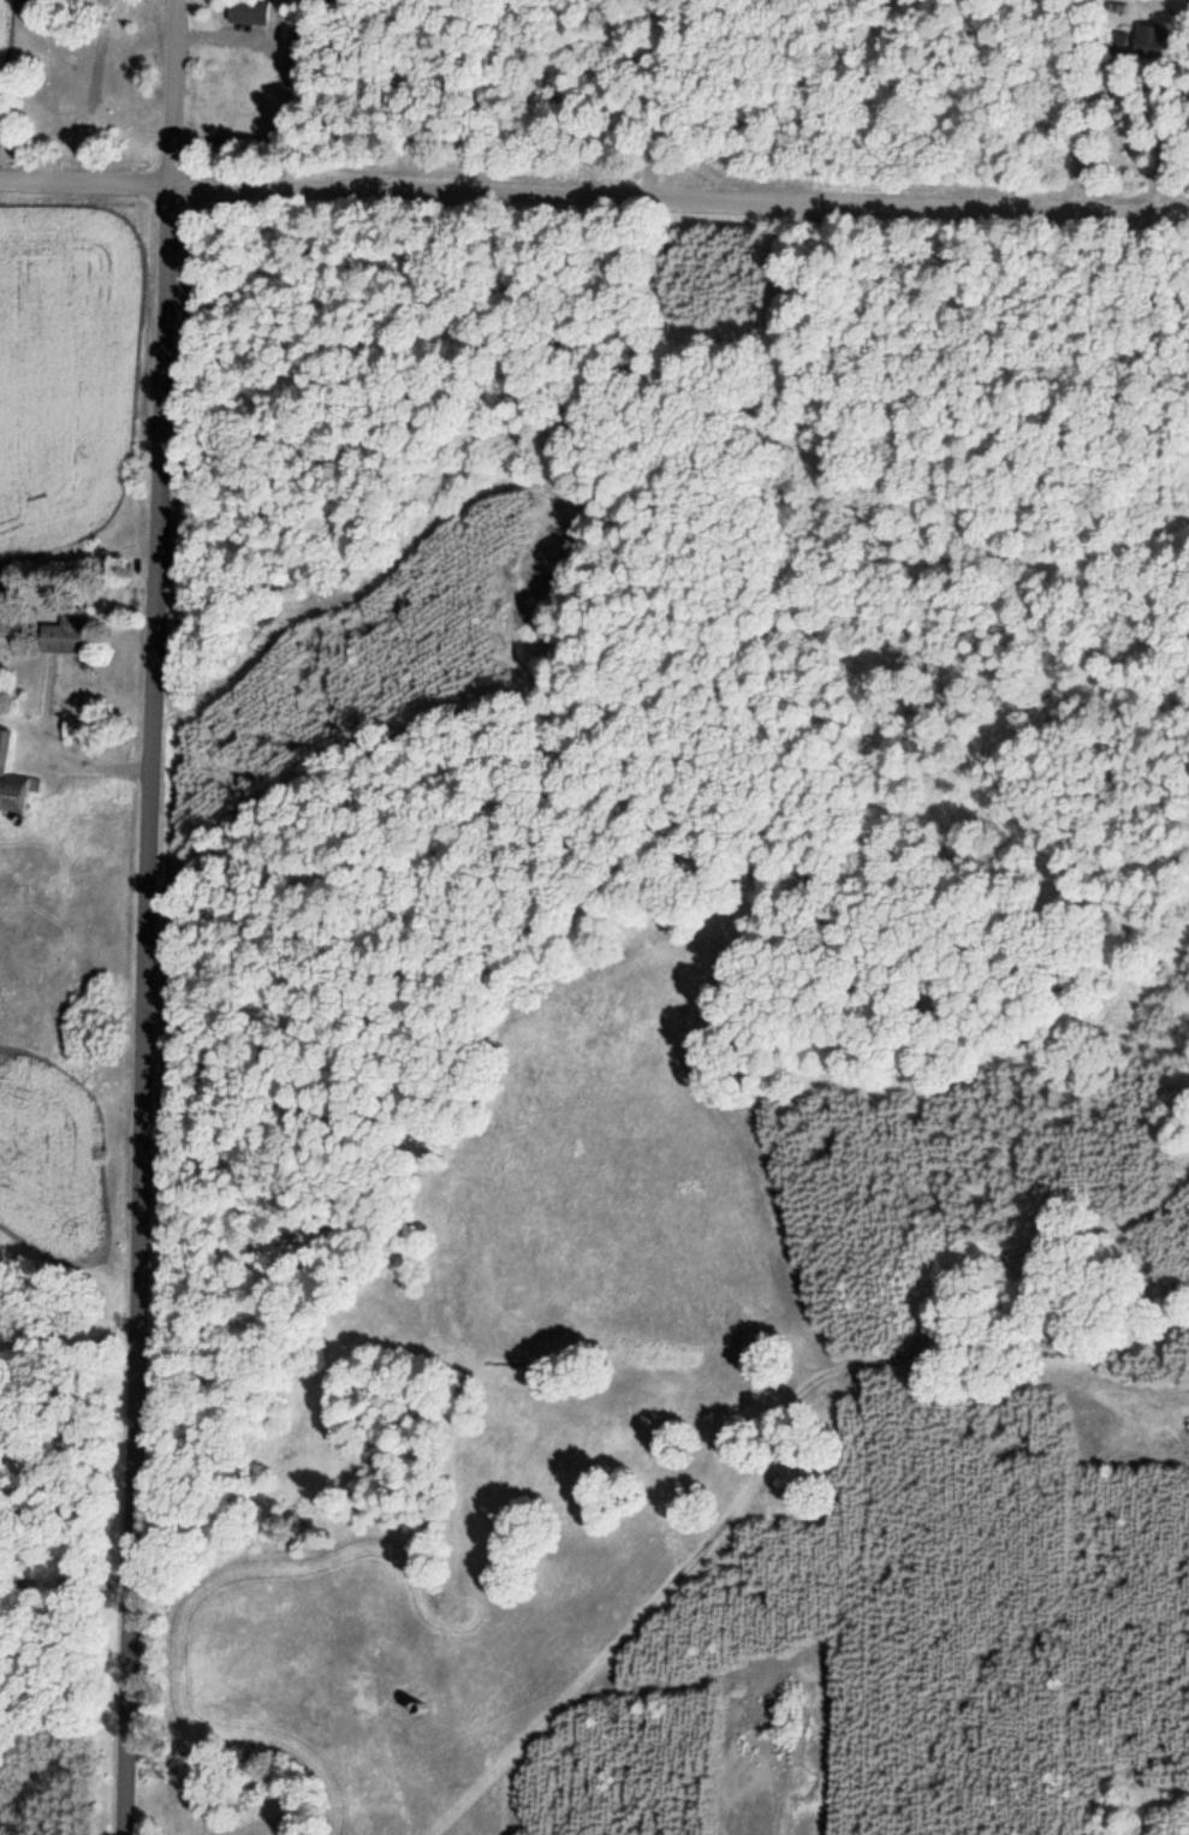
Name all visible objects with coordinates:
road: (204, 38)
road: (1159, 170)
road: (594, 197)
road: (109, 767)
road: (145, 916)
road: (762, 1474)

